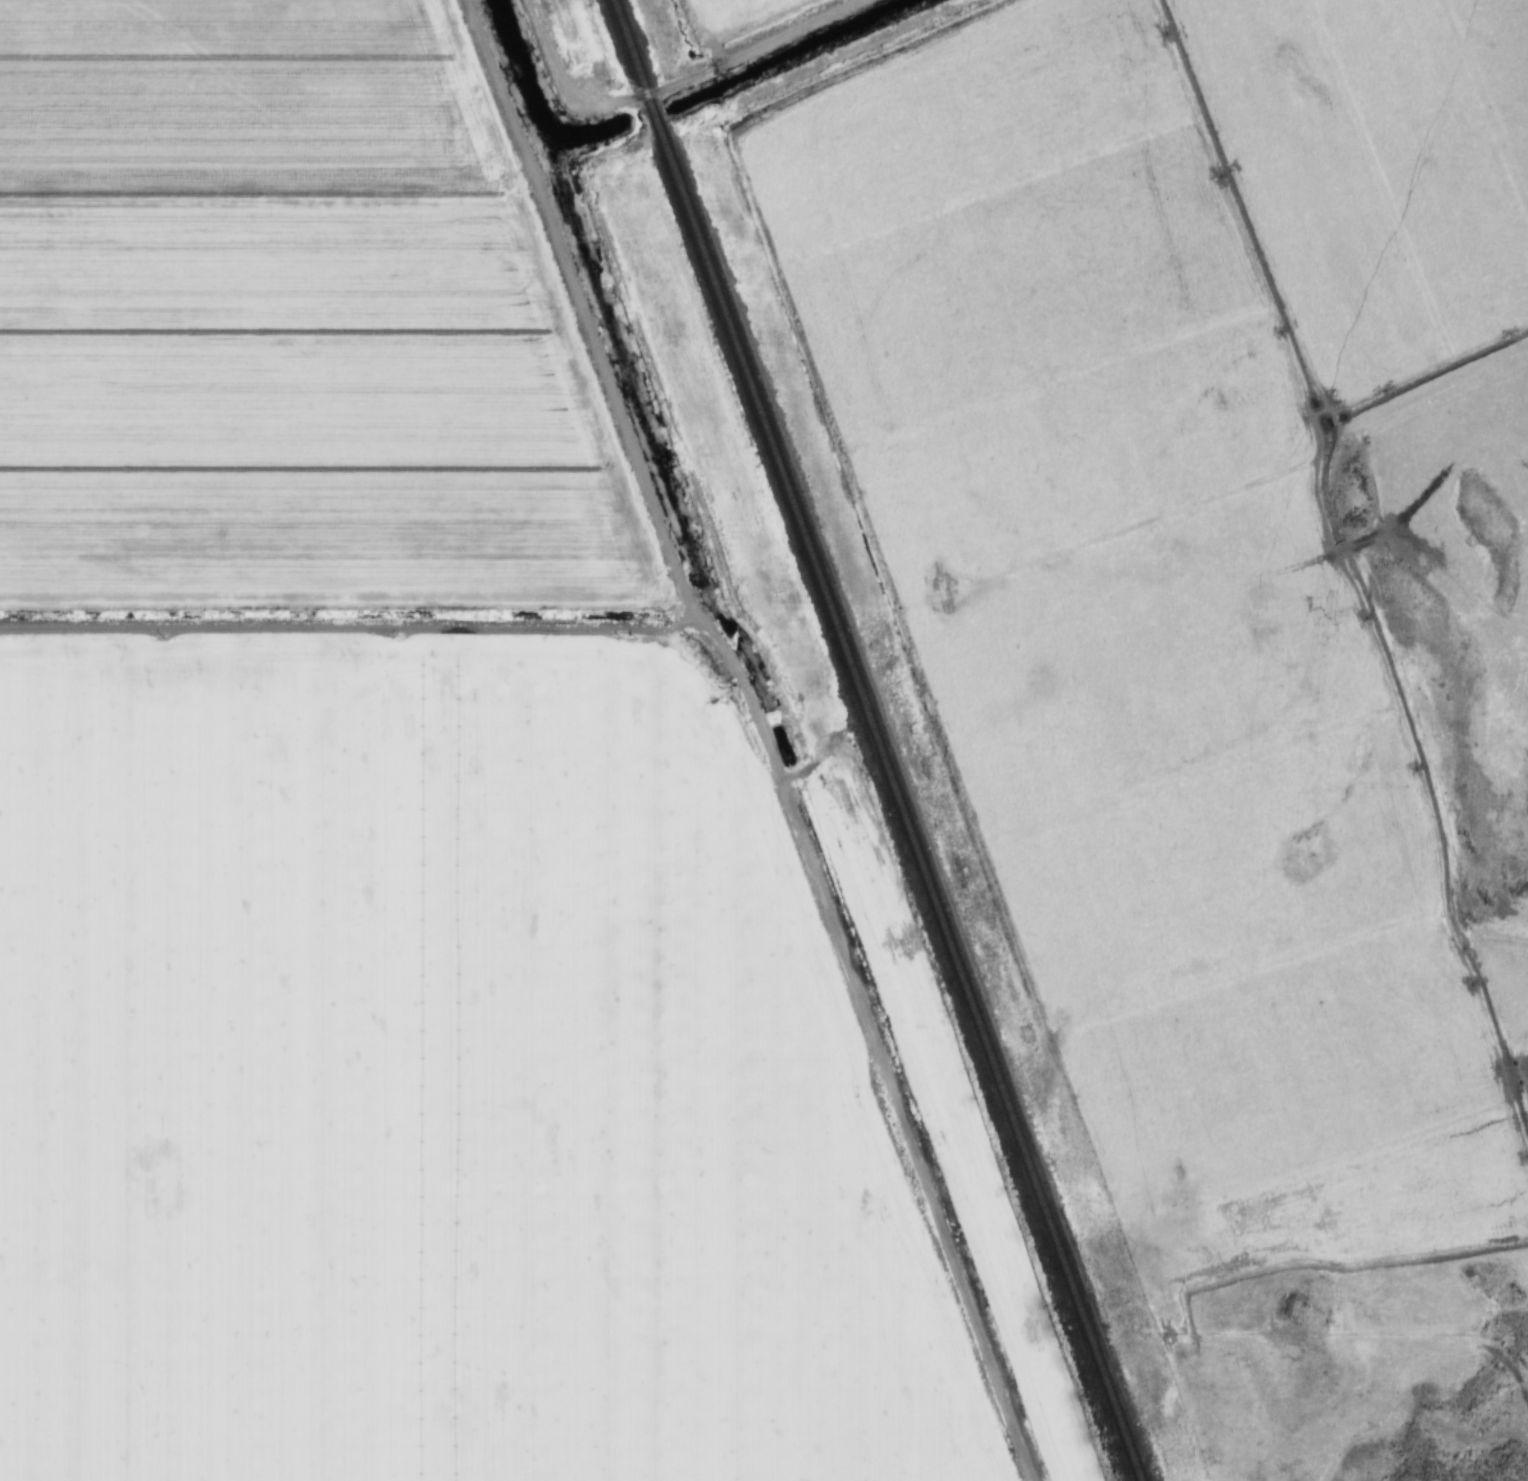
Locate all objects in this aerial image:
crop: (286, 320)
railway: (874, 740)
crop: (421, 1086)

